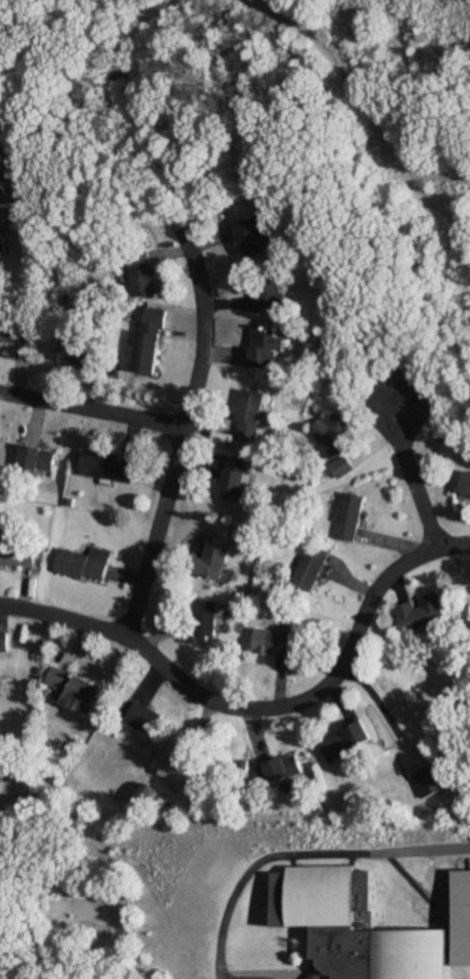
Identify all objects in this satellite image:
road: (121, 57)
road: (335, 72)
building: (0, 163)
road: (441, 176)
building: (1, 191)
building: (251, 239)
building: (1, 244)
building: (140, 274)
building: (270, 290)
road: (198, 311)
building: (10, 331)
building: (146, 343)
building: (261, 348)
building: (75, 353)
road: (89, 409)
building: (246, 414)
building: (329, 437)
building: (32, 459)
building: (341, 466)
building: (104, 467)
road: (409, 475)
building: (233, 479)
building: (468, 486)
building: (349, 516)
building: (17, 554)
building: (212, 559)
building: (80, 564)
building: (310, 571)
building: (422, 612)
building: (202, 621)
building: (2, 641)
building: (272, 642)
building: (72, 689)
road: (371, 709)
road: (260, 710)
building: (143, 717)
building: (347, 741)
building: (284, 768)
building: (189, 777)
building: (428, 781)
road: (294, 855)
building: (315, 899)

